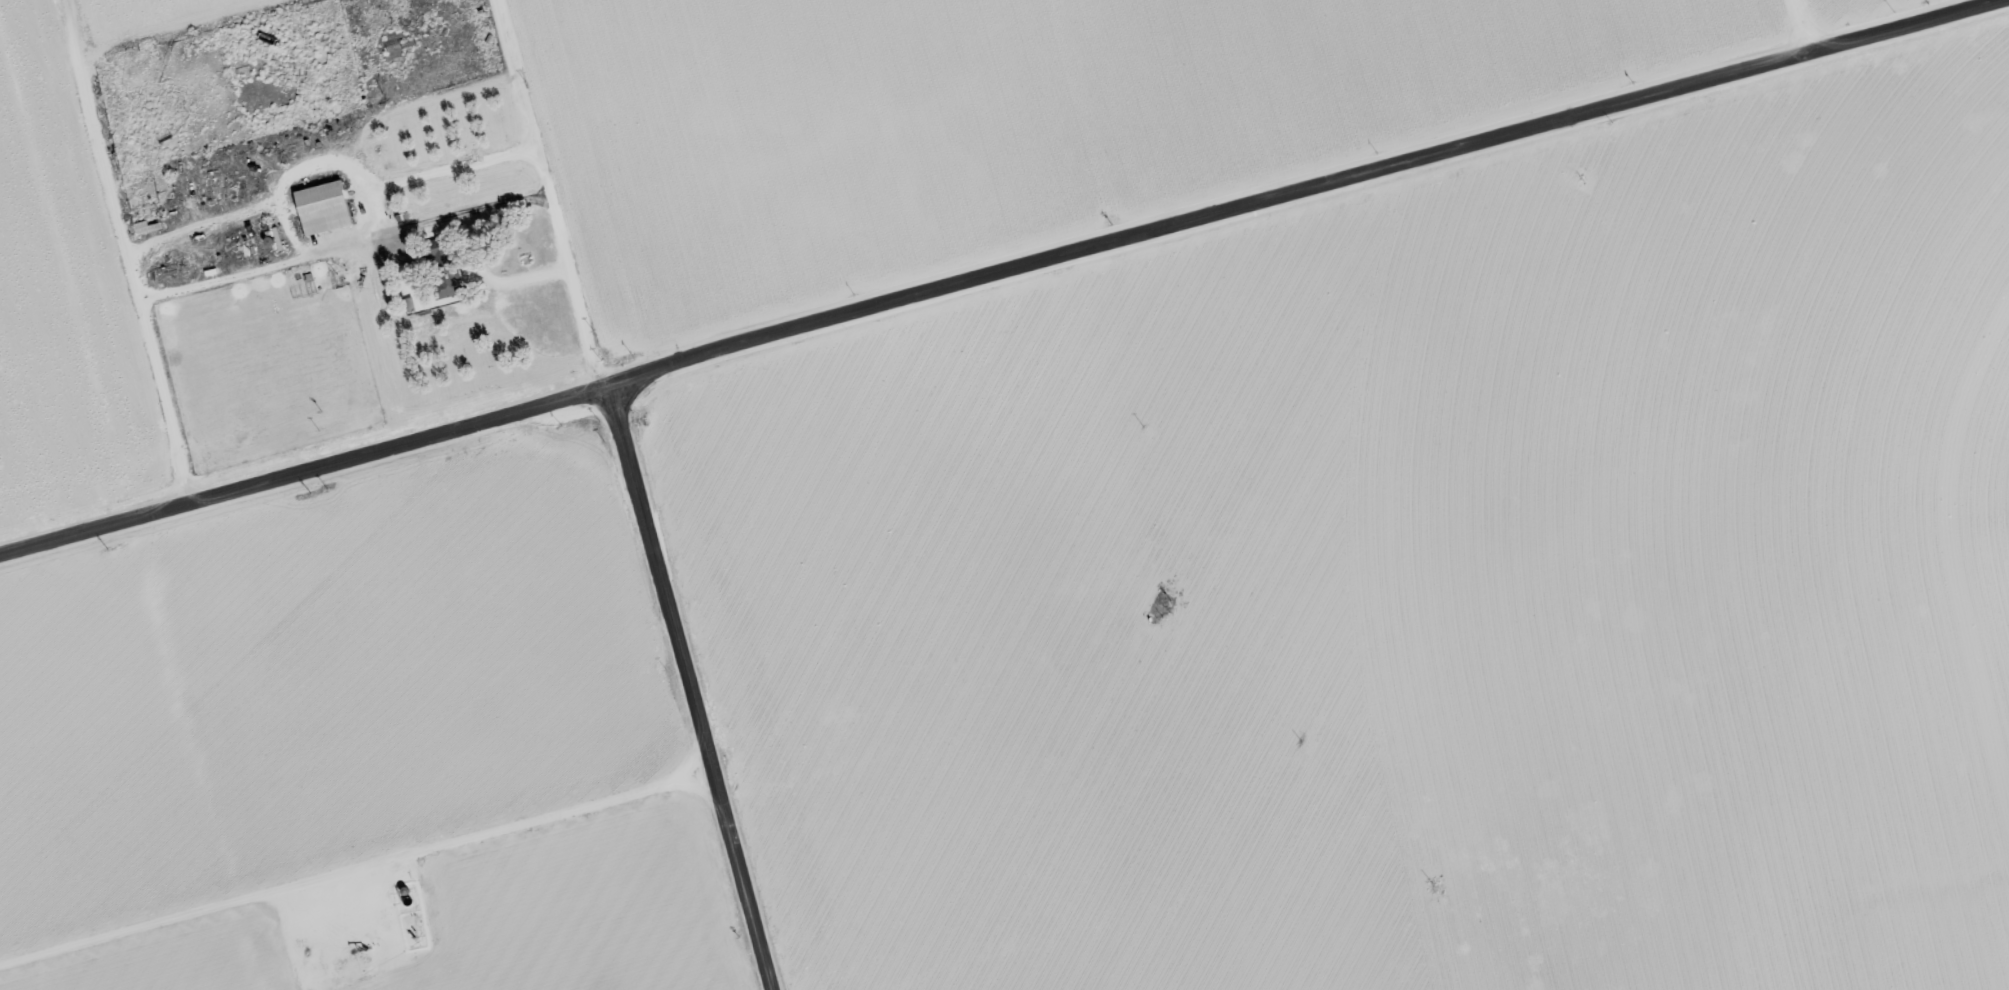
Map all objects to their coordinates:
road: (305, 168)
road: (554, 193)
building: (326, 206)
road: (381, 212)
road: (294, 229)
road: (249, 271)
road: (500, 279)
road: (1004, 279)
road: (693, 688)

